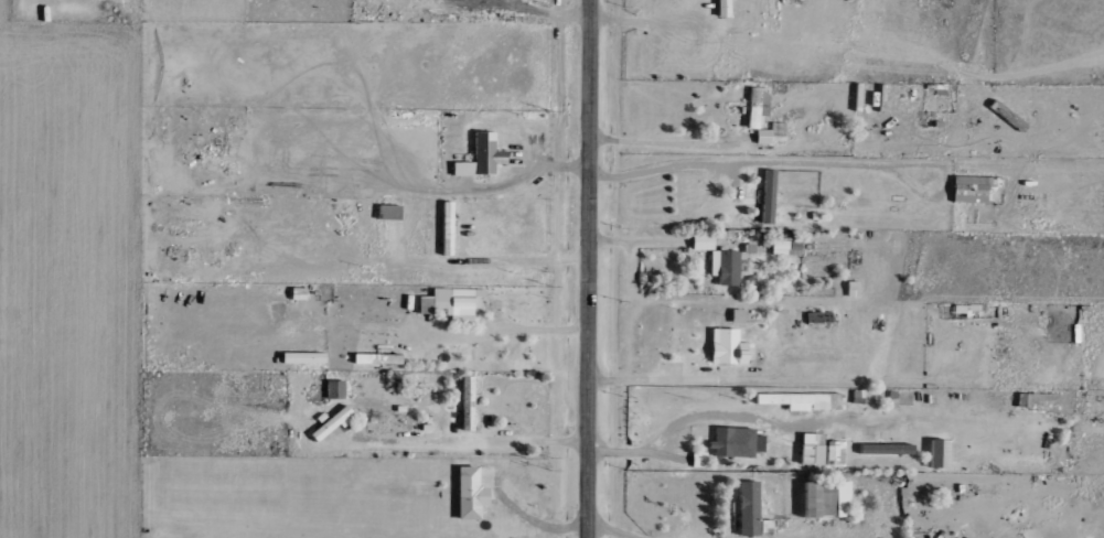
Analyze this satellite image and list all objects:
building: (725, 8)
building: (754, 106)
building: (770, 133)
building: (479, 154)
building: (966, 189)
building: (767, 196)
building: (386, 212)
building: (446, 227)
building: (700, 241)
building: (783, 247)
building: (722, 267)
road: (588, 269)
building: (457, 303)
building: (422, 304)
building: (726, 347)
building: (373, 358)
building: (334, 388)
building: (1025, 399)
building: (807, 400)
building: (465, 402)
building: (328, 422)
building: (730, 442)
building: (881, 449)
building: (817, 450)
building: (936, 453)
building: (697, 460)
building: (1019, 462)
building: (465, 493)
building: (823, 498)
building: (744, 507)

